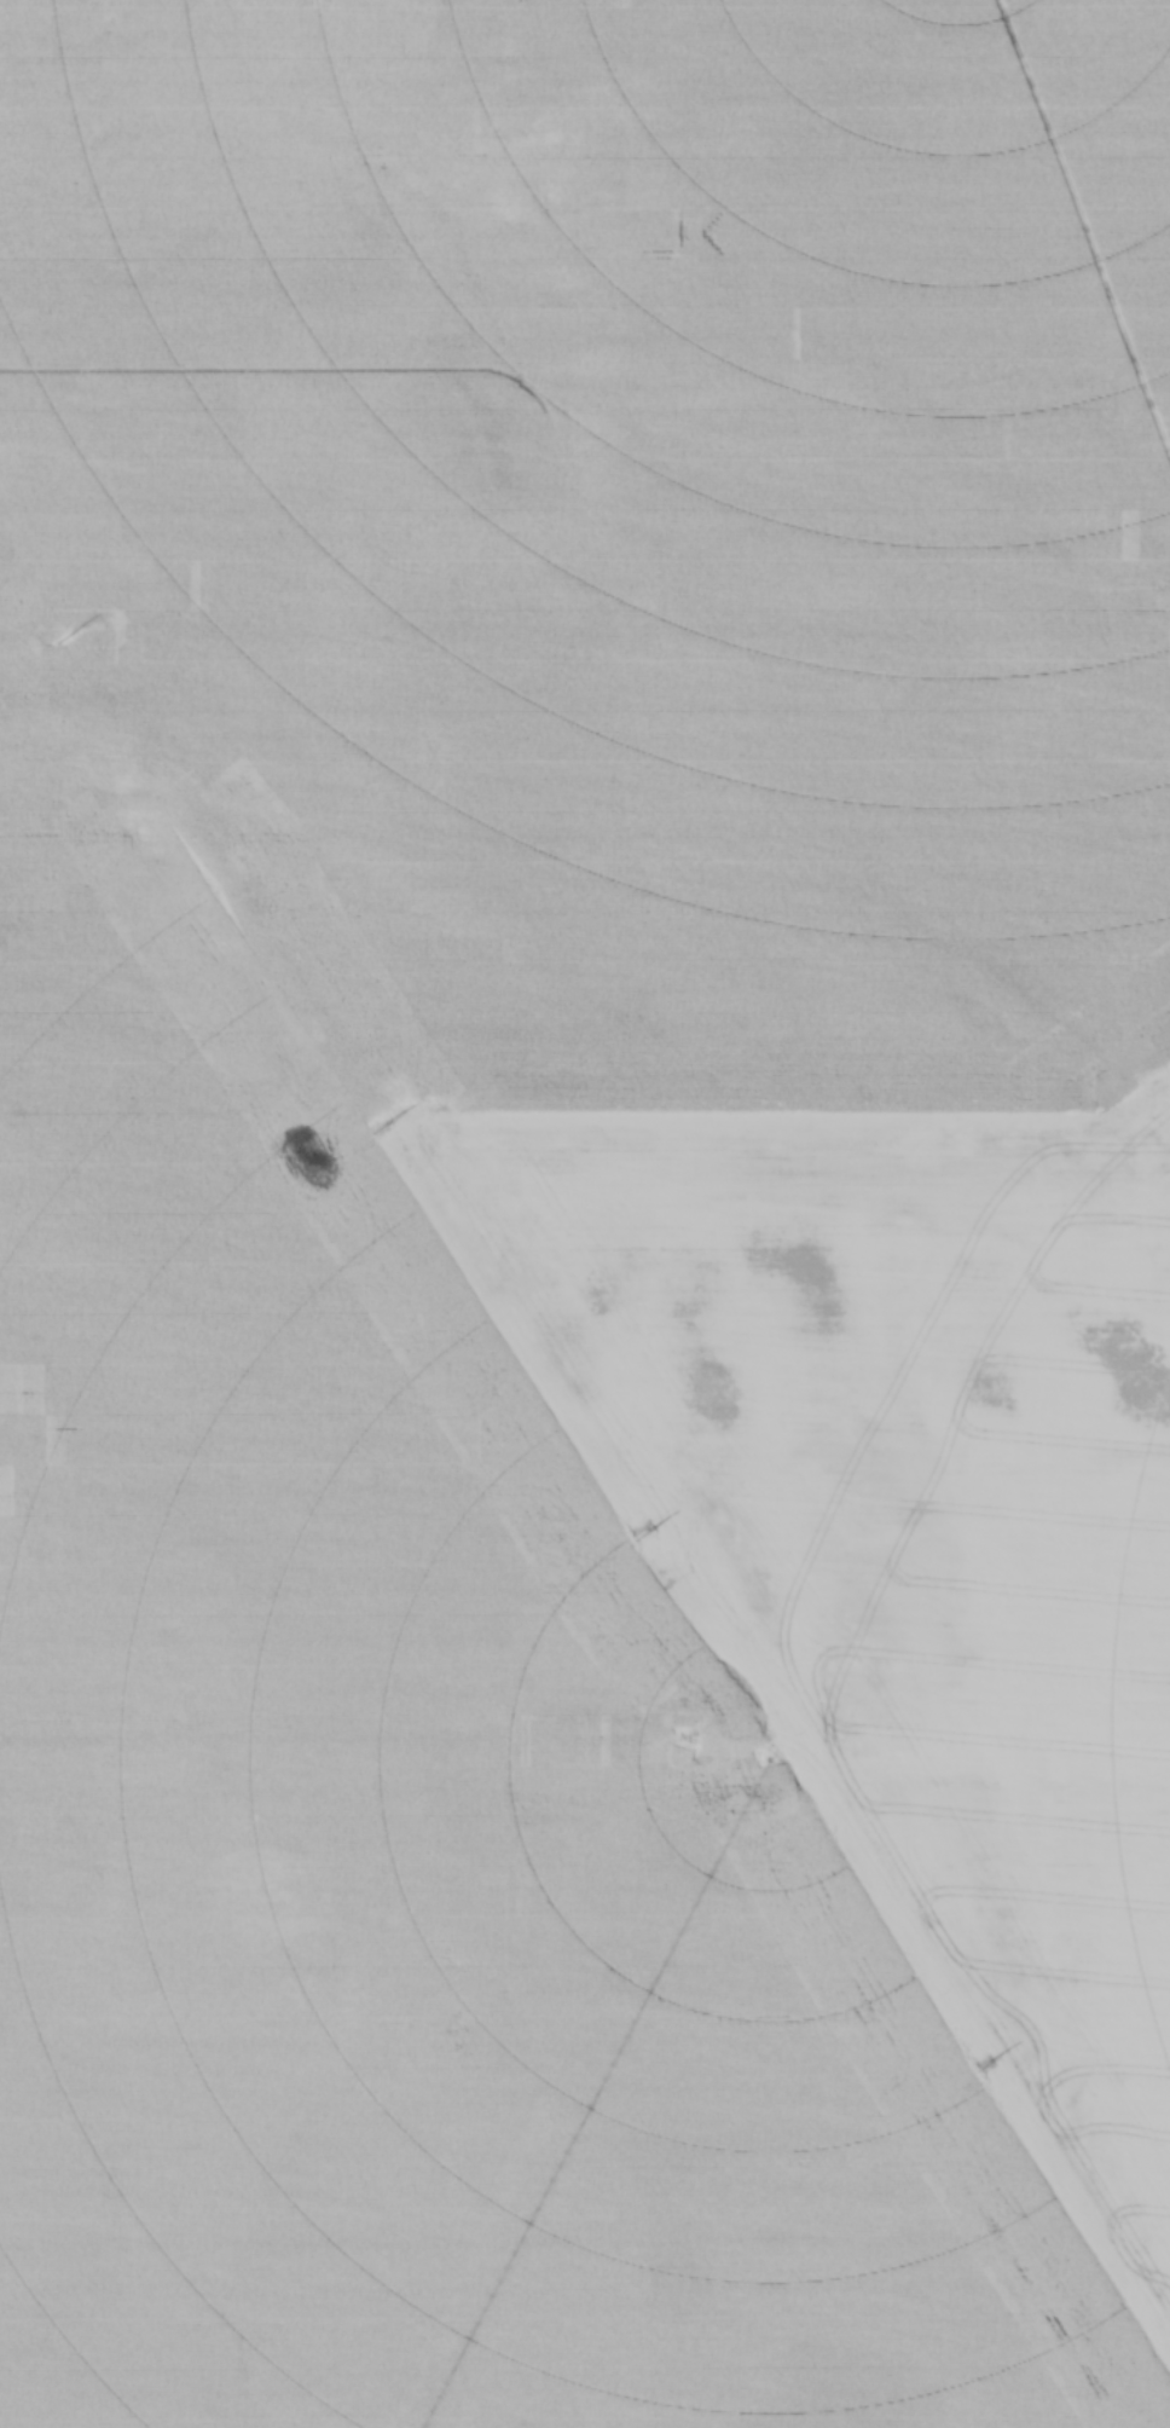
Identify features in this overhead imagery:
power tower: (69, 638)
power tower: (382, 1129)
power tower: (647, 1537)
power tower: (985, 2065)

